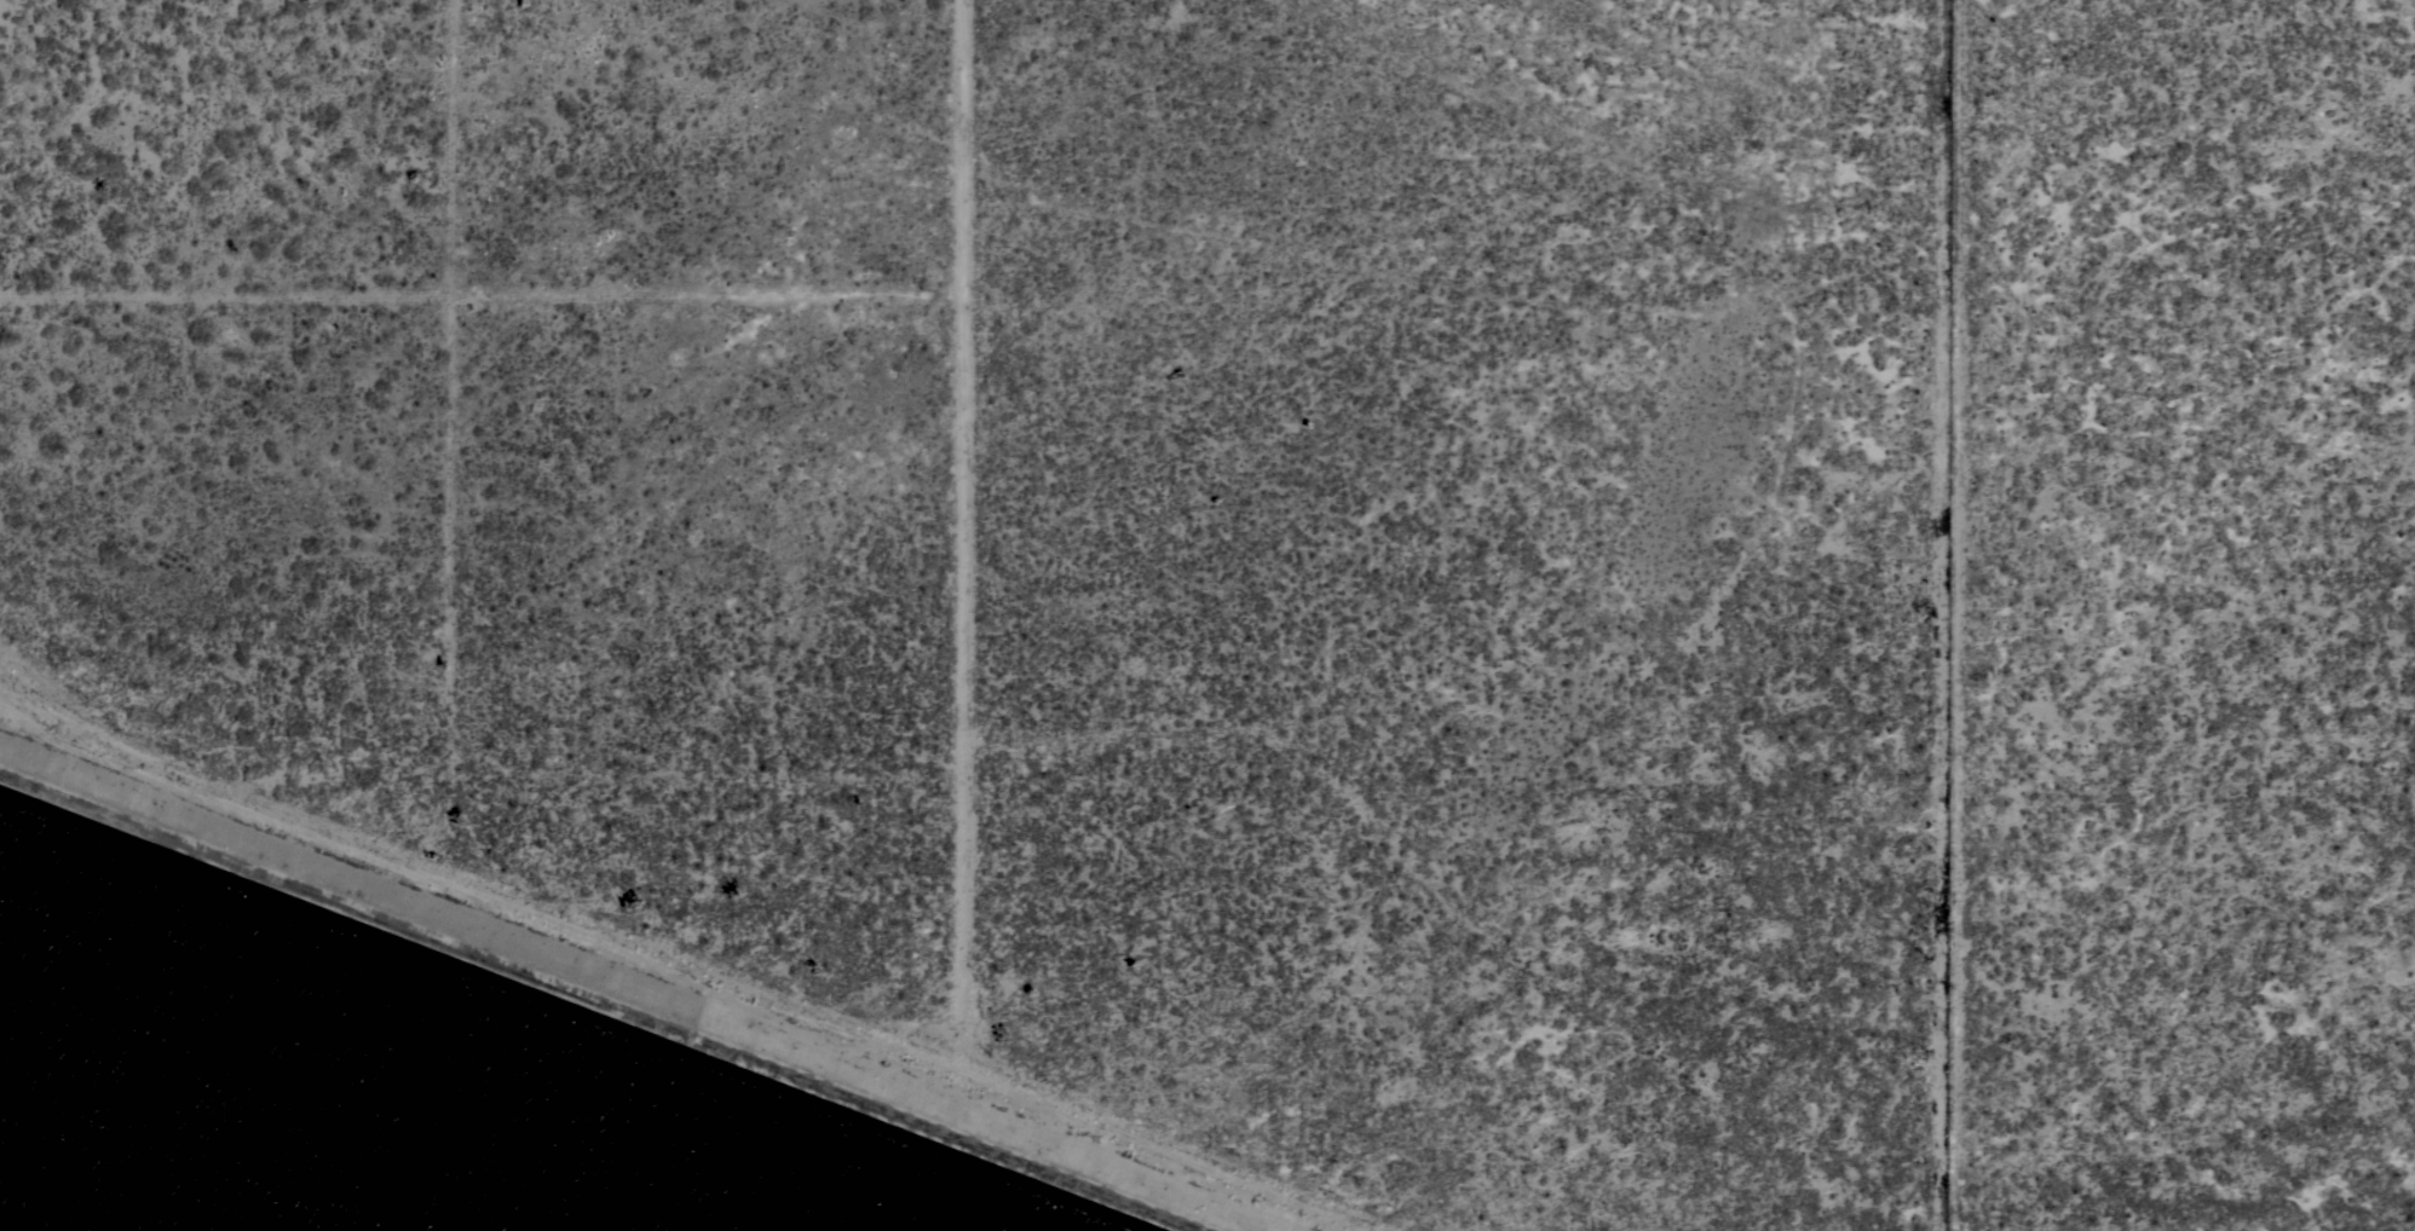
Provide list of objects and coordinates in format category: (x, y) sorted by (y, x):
wastewater plant: (437, 1064)

